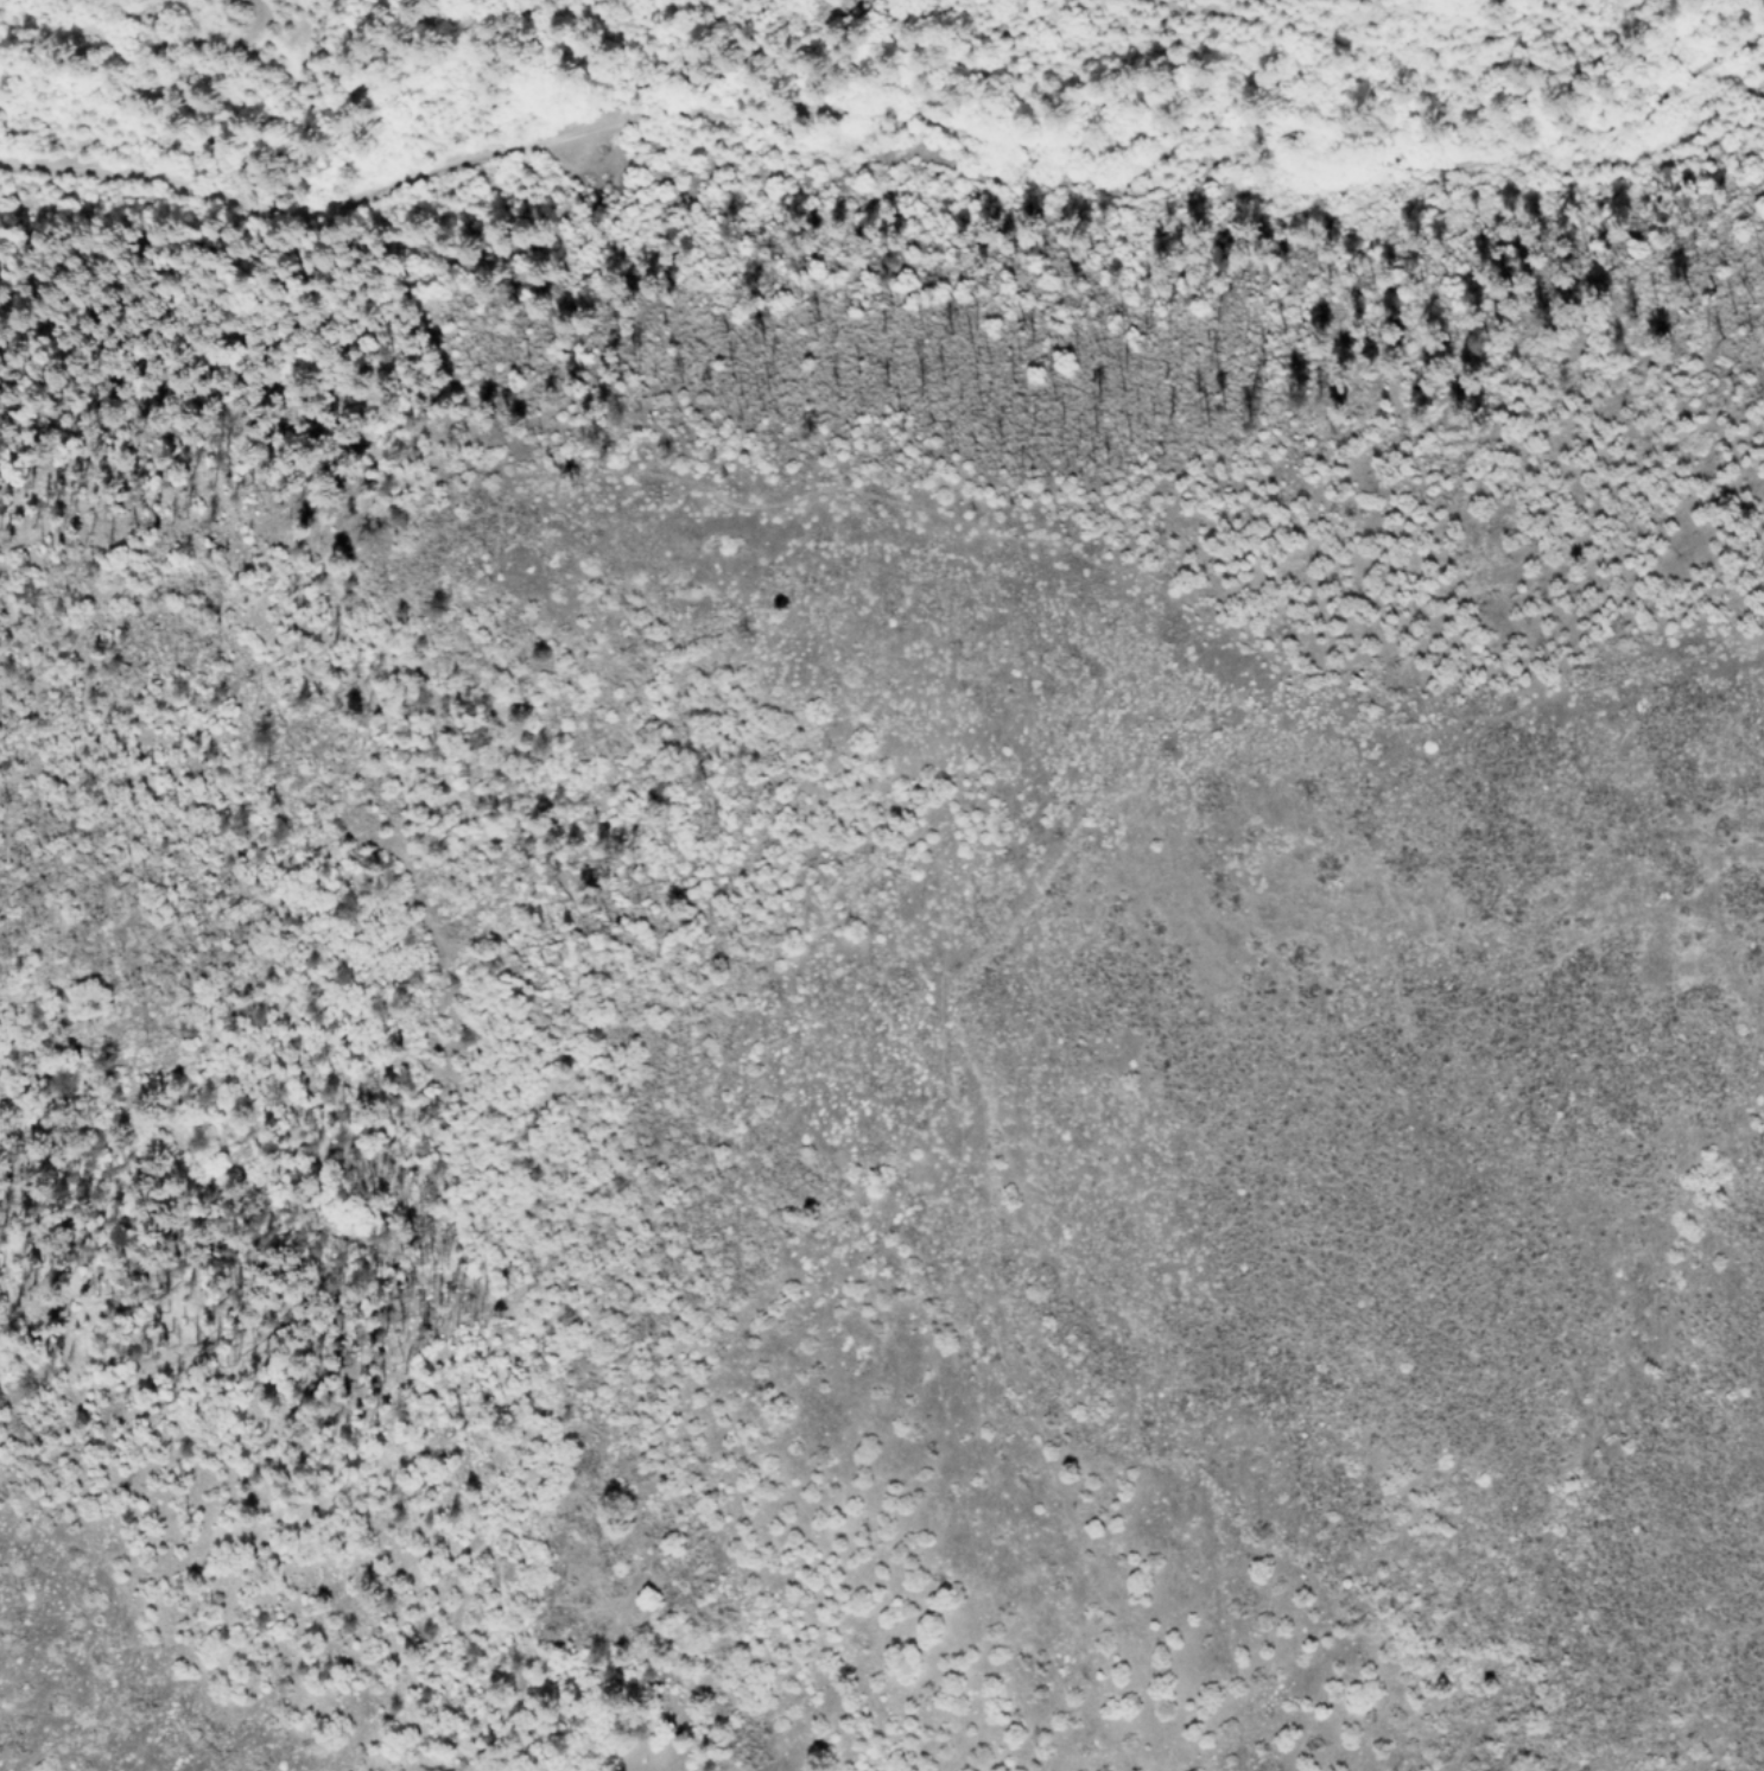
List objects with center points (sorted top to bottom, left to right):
road: (887, 122)

